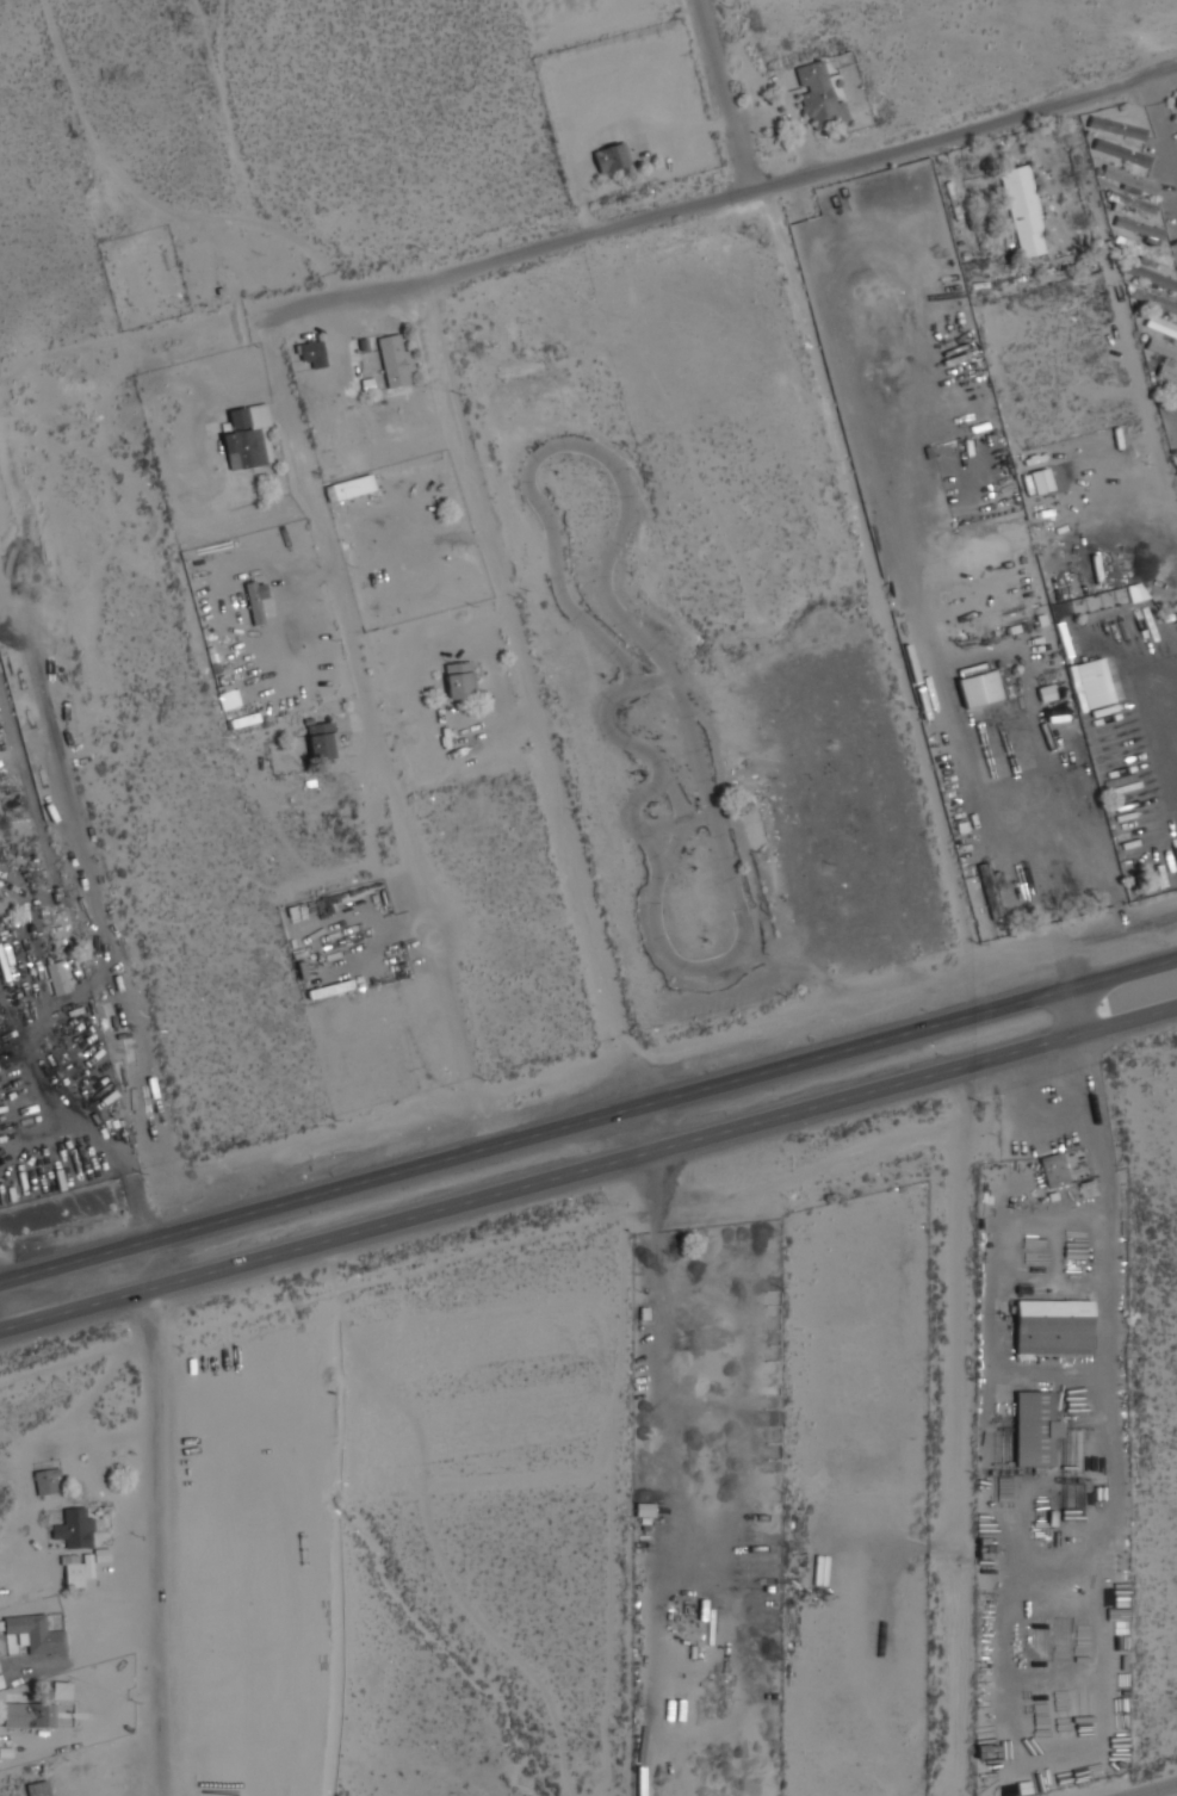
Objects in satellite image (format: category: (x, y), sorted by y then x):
road: (723, 95)
building: (817, 95)
building: (1116, 128)
road: (1160, 128)
building: (1121, 153)
building: (612, 157)
building: (1129, 179)
road: (758, 187)
road: (142, 199)
building: (1130, 202)
building: (1023, 211)
building: (1139, 228)
building: (1146, 252)
building: (1148, 275)
building: (1154, 301)
road: (292, 304)
building: (1160, 326)
building: (1161, 348)
building: (312, 353)
building: (395, 360)
building: (1166, 373)
building: (246, 436)
building: (352, 487)
building: (255, 600)
building: (459, 680)
building: (1090, 683)
building: (979, 688)
road: (531, 694)
road: (371, 732)
building: (321, 741)
building: (990, 891)
building: (57, 978)
road: (588, 1122)
road: (588, 1170)
building: (1054, 1170)
building: (1053, 1326)
building: (1035, 1429)
building: (45, 1481)
road: (156, 1518)
building: (74, 1529)
building: (75, 1573)
building: (35, 1634)
building: (29, 1715)
building: (37, 1789)
road: (1153, 1789)

